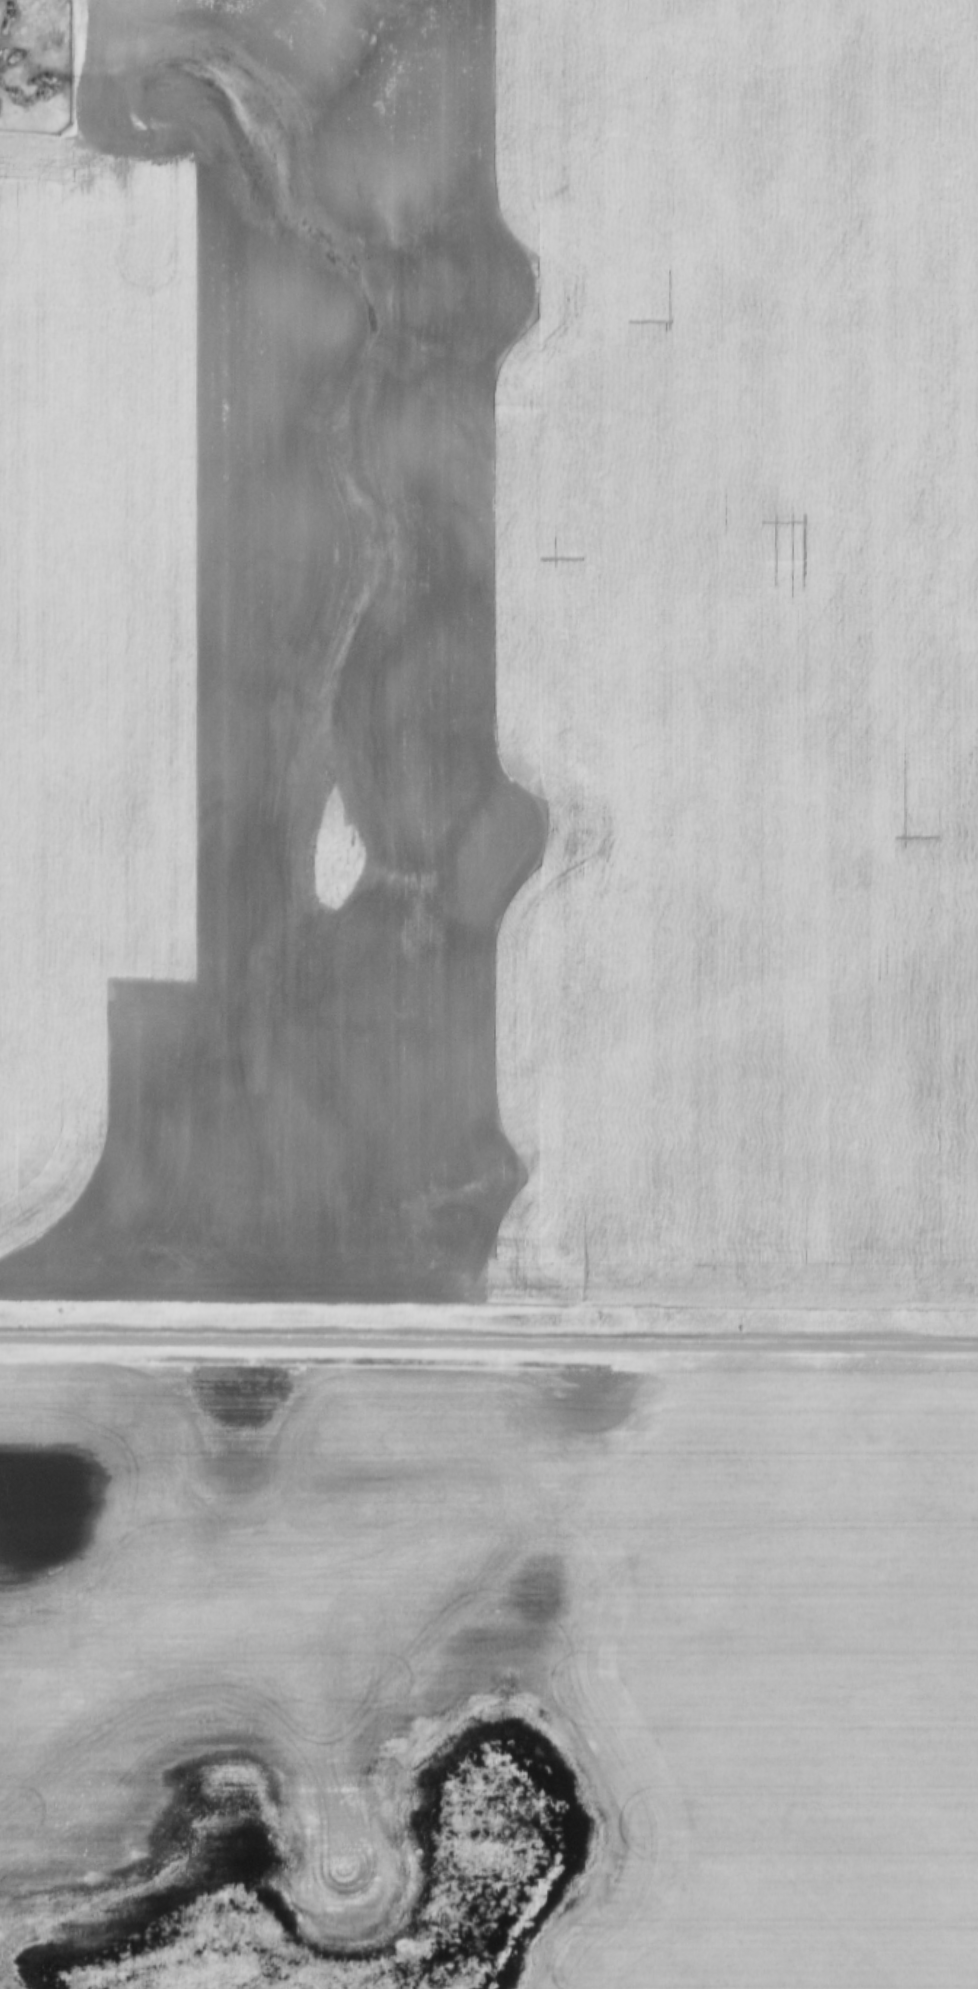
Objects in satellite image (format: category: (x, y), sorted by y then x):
road: (489, 1342)

